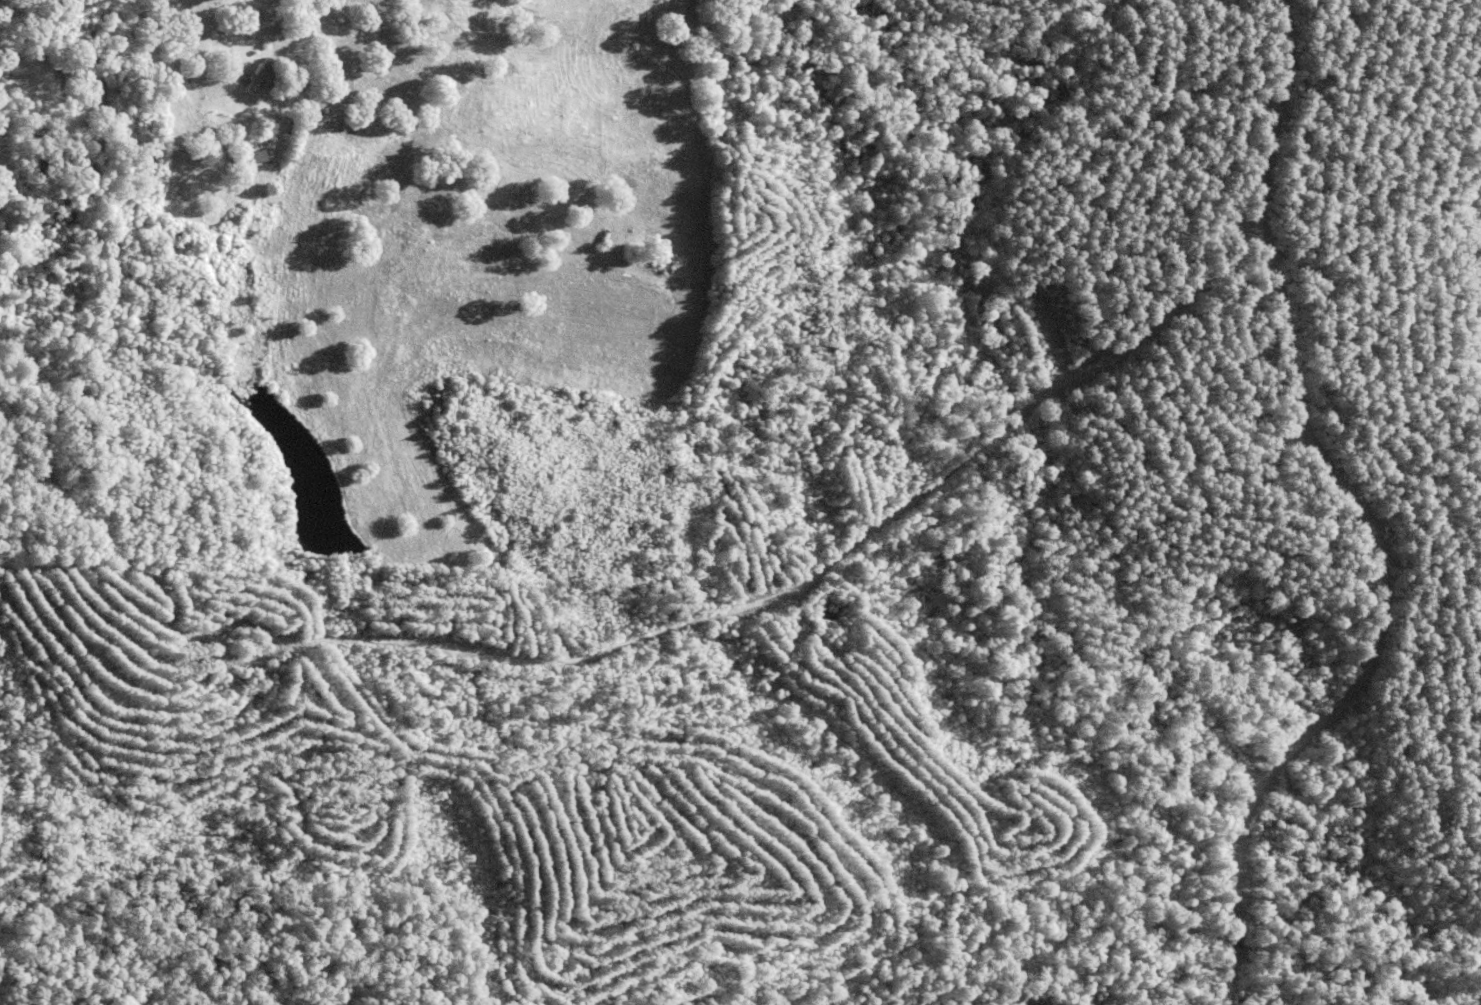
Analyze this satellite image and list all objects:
building: (283, 30)
building: (258, 71)
building: (277, 88)
building: (251, 156)

